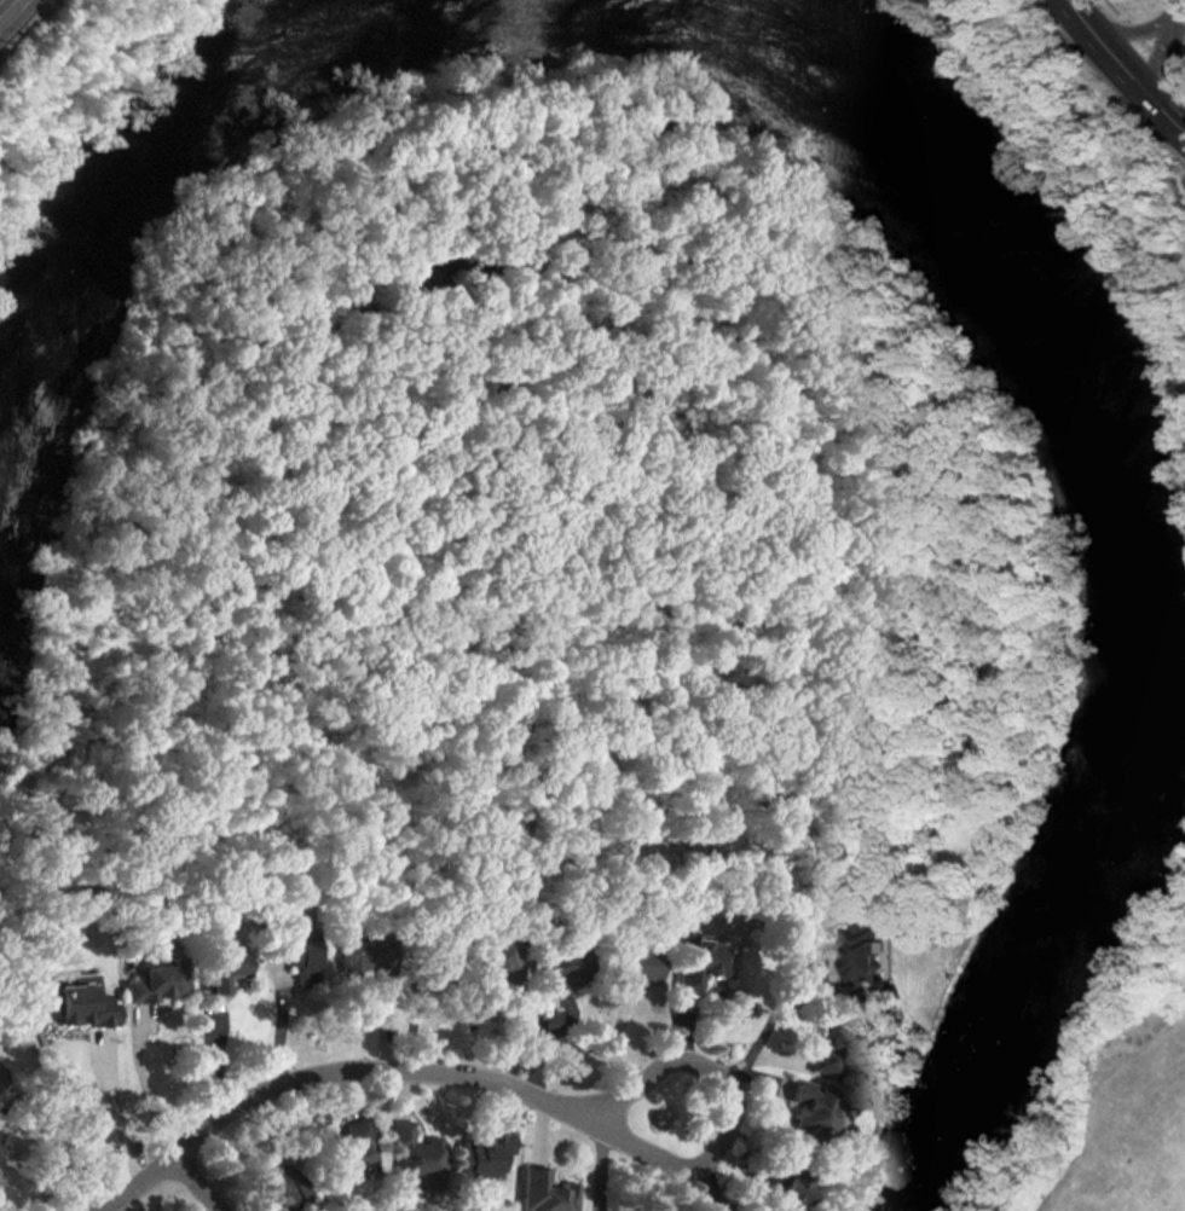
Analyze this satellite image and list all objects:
road: (1178, 2)
road: (11, 10)
road: (2, 12)
road: (1139, 28)
road: (1163, 47)
road: (1127, 66)
river: (145, 176)
river: (1102, 532)
building: (435, 948)
building: (863, 954)
building: (302, 957)
building: (371, 957)
building: (501, 960)
building: (635, 967)
building: (703, 967)
building: (565, 968)
building: (226, 969)
building: (158, 980)
building: (76, 1003)
road: (755, 1049)
building: (837, 1051)
road: (630, 1071)
road: (369, 1076)
road: (140, 1082)
park: (1116, 1095)
road: (115, 1106)
building: (811, 1111)
road: (50, 1136)
building: (353, 1151)
building: (485, 1155)
building: (418, 1158)
road: (600, 1163)
road: (699, 1166)
road: (200, 1180)
building: (282, 1181)
building: (791, 1182)
building: (547, 1192)
road: (704, 1200)

